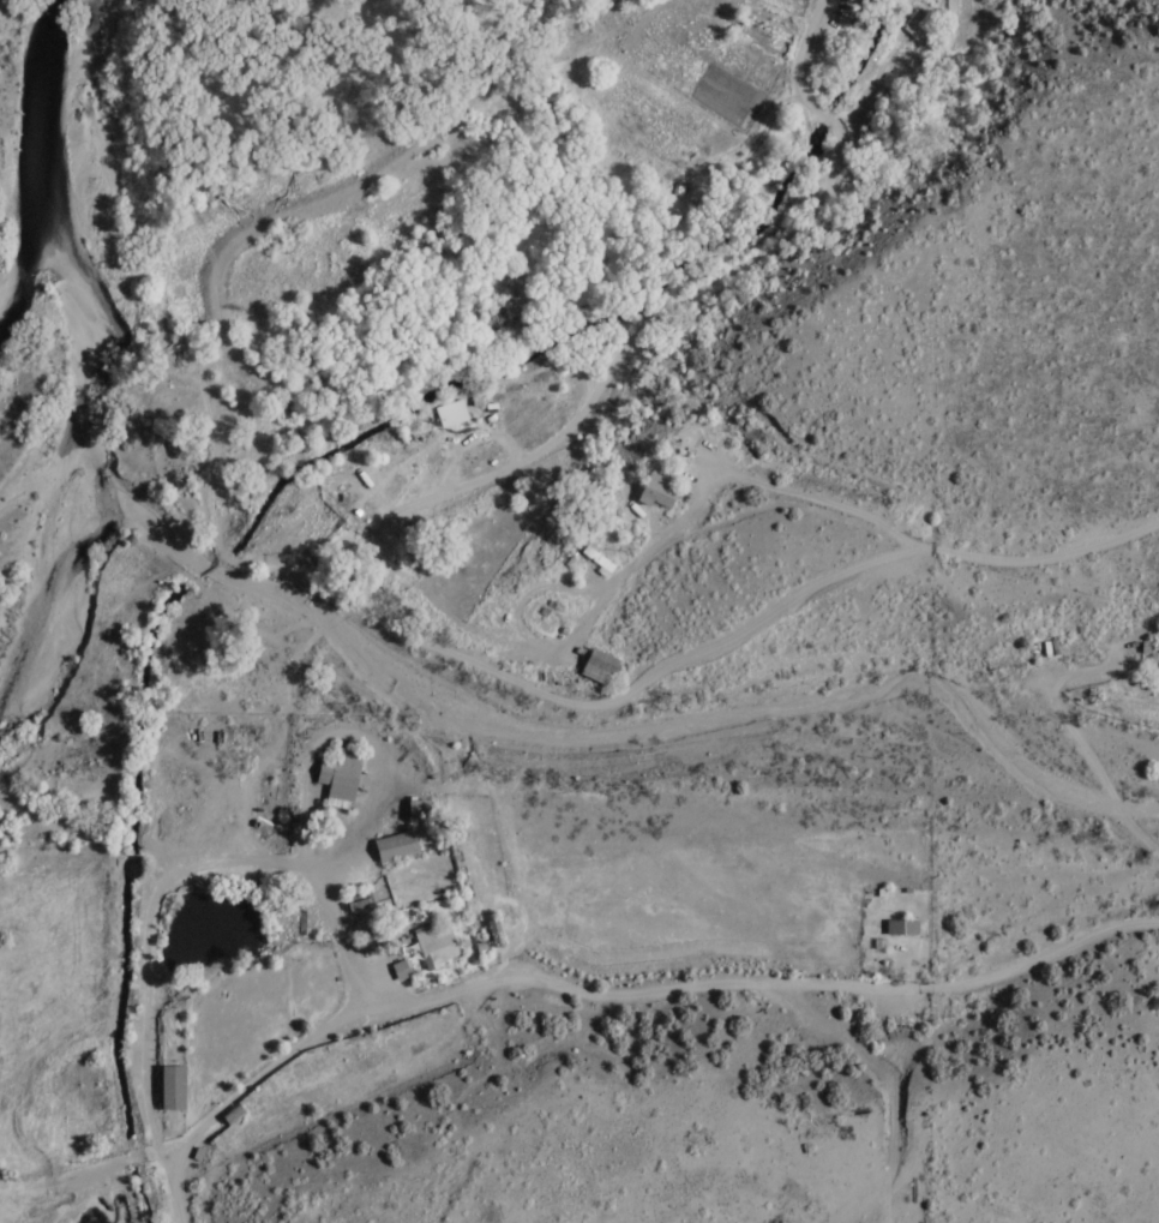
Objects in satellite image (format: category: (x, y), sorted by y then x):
building: (913, 24)
building: (448, 414)
building: (654, 491)
road: (919, 521)
building: (595, 666)
building: (337, 774)
building: (415, 810)
building: (392, 847)
building: (899, 929)
building: (433, 945)
building: (398, 970)
road: (753, 988)
building: (169, 1087)

